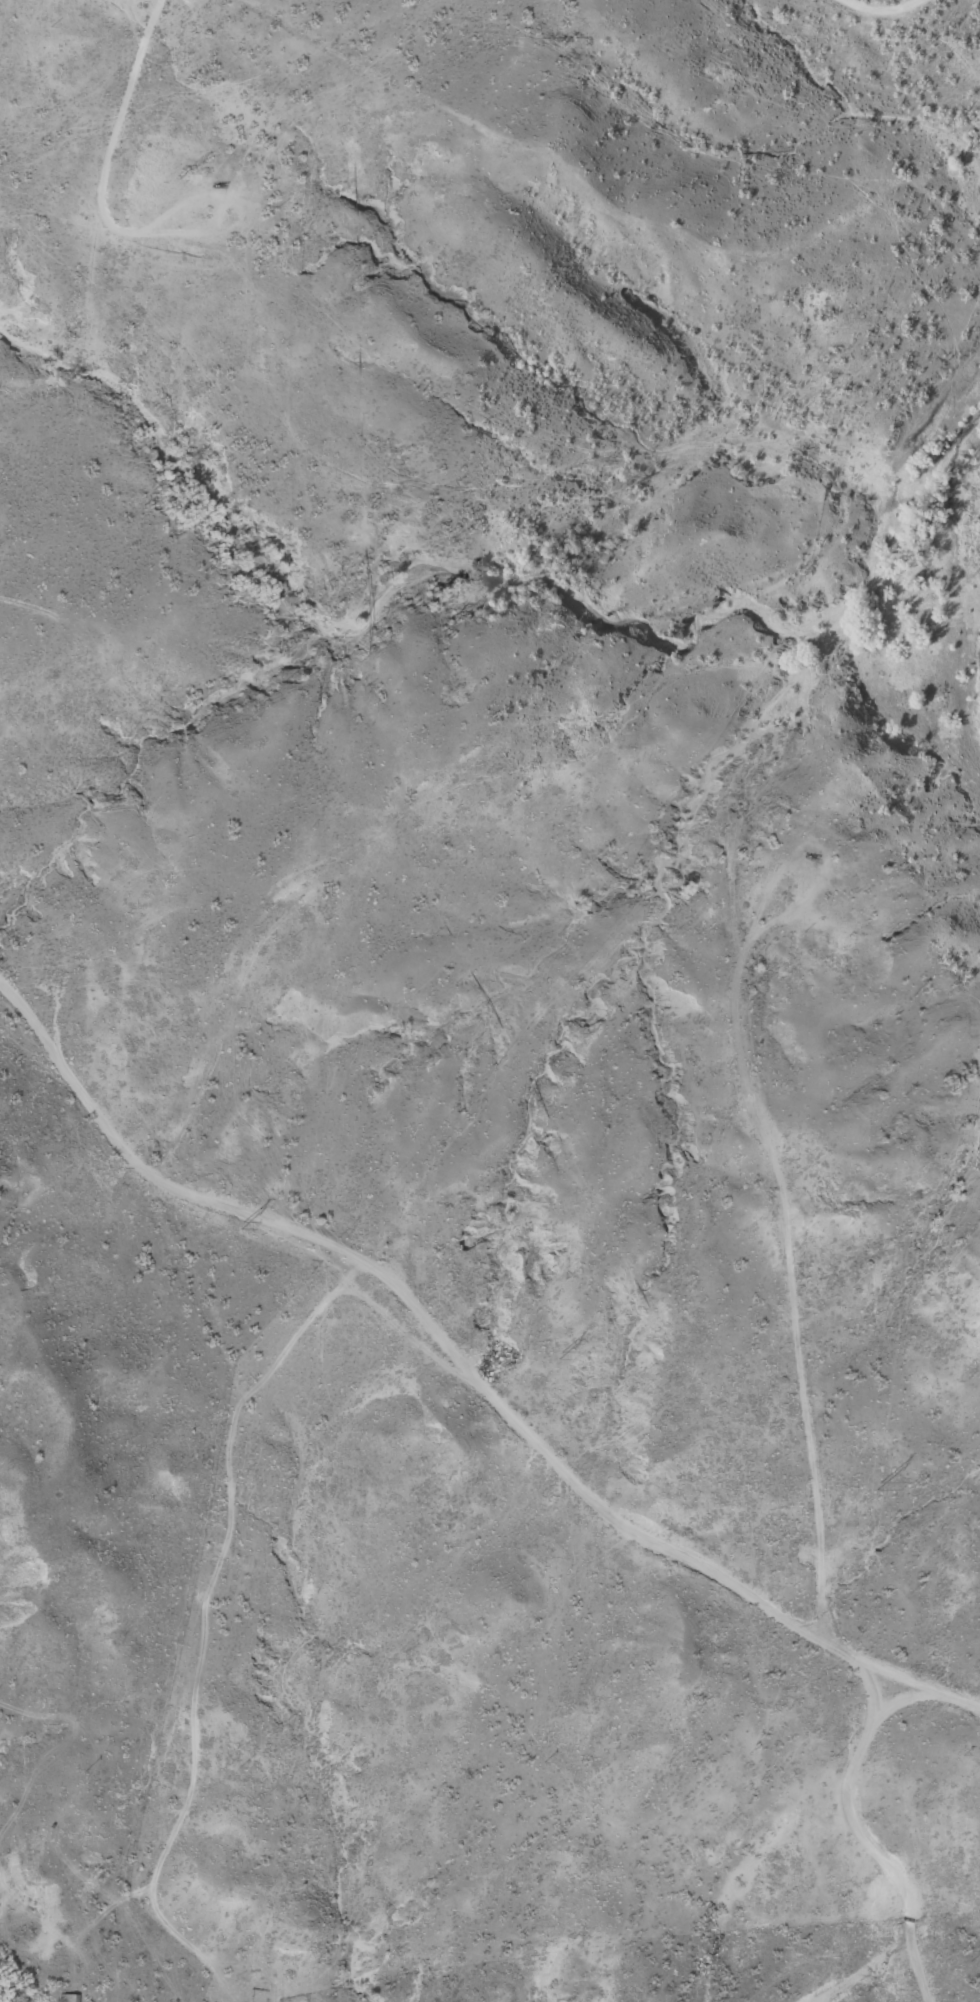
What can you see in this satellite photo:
power tower: (243, 1229)
power tower: (560, 1355)
power tower: (878, 1487)

